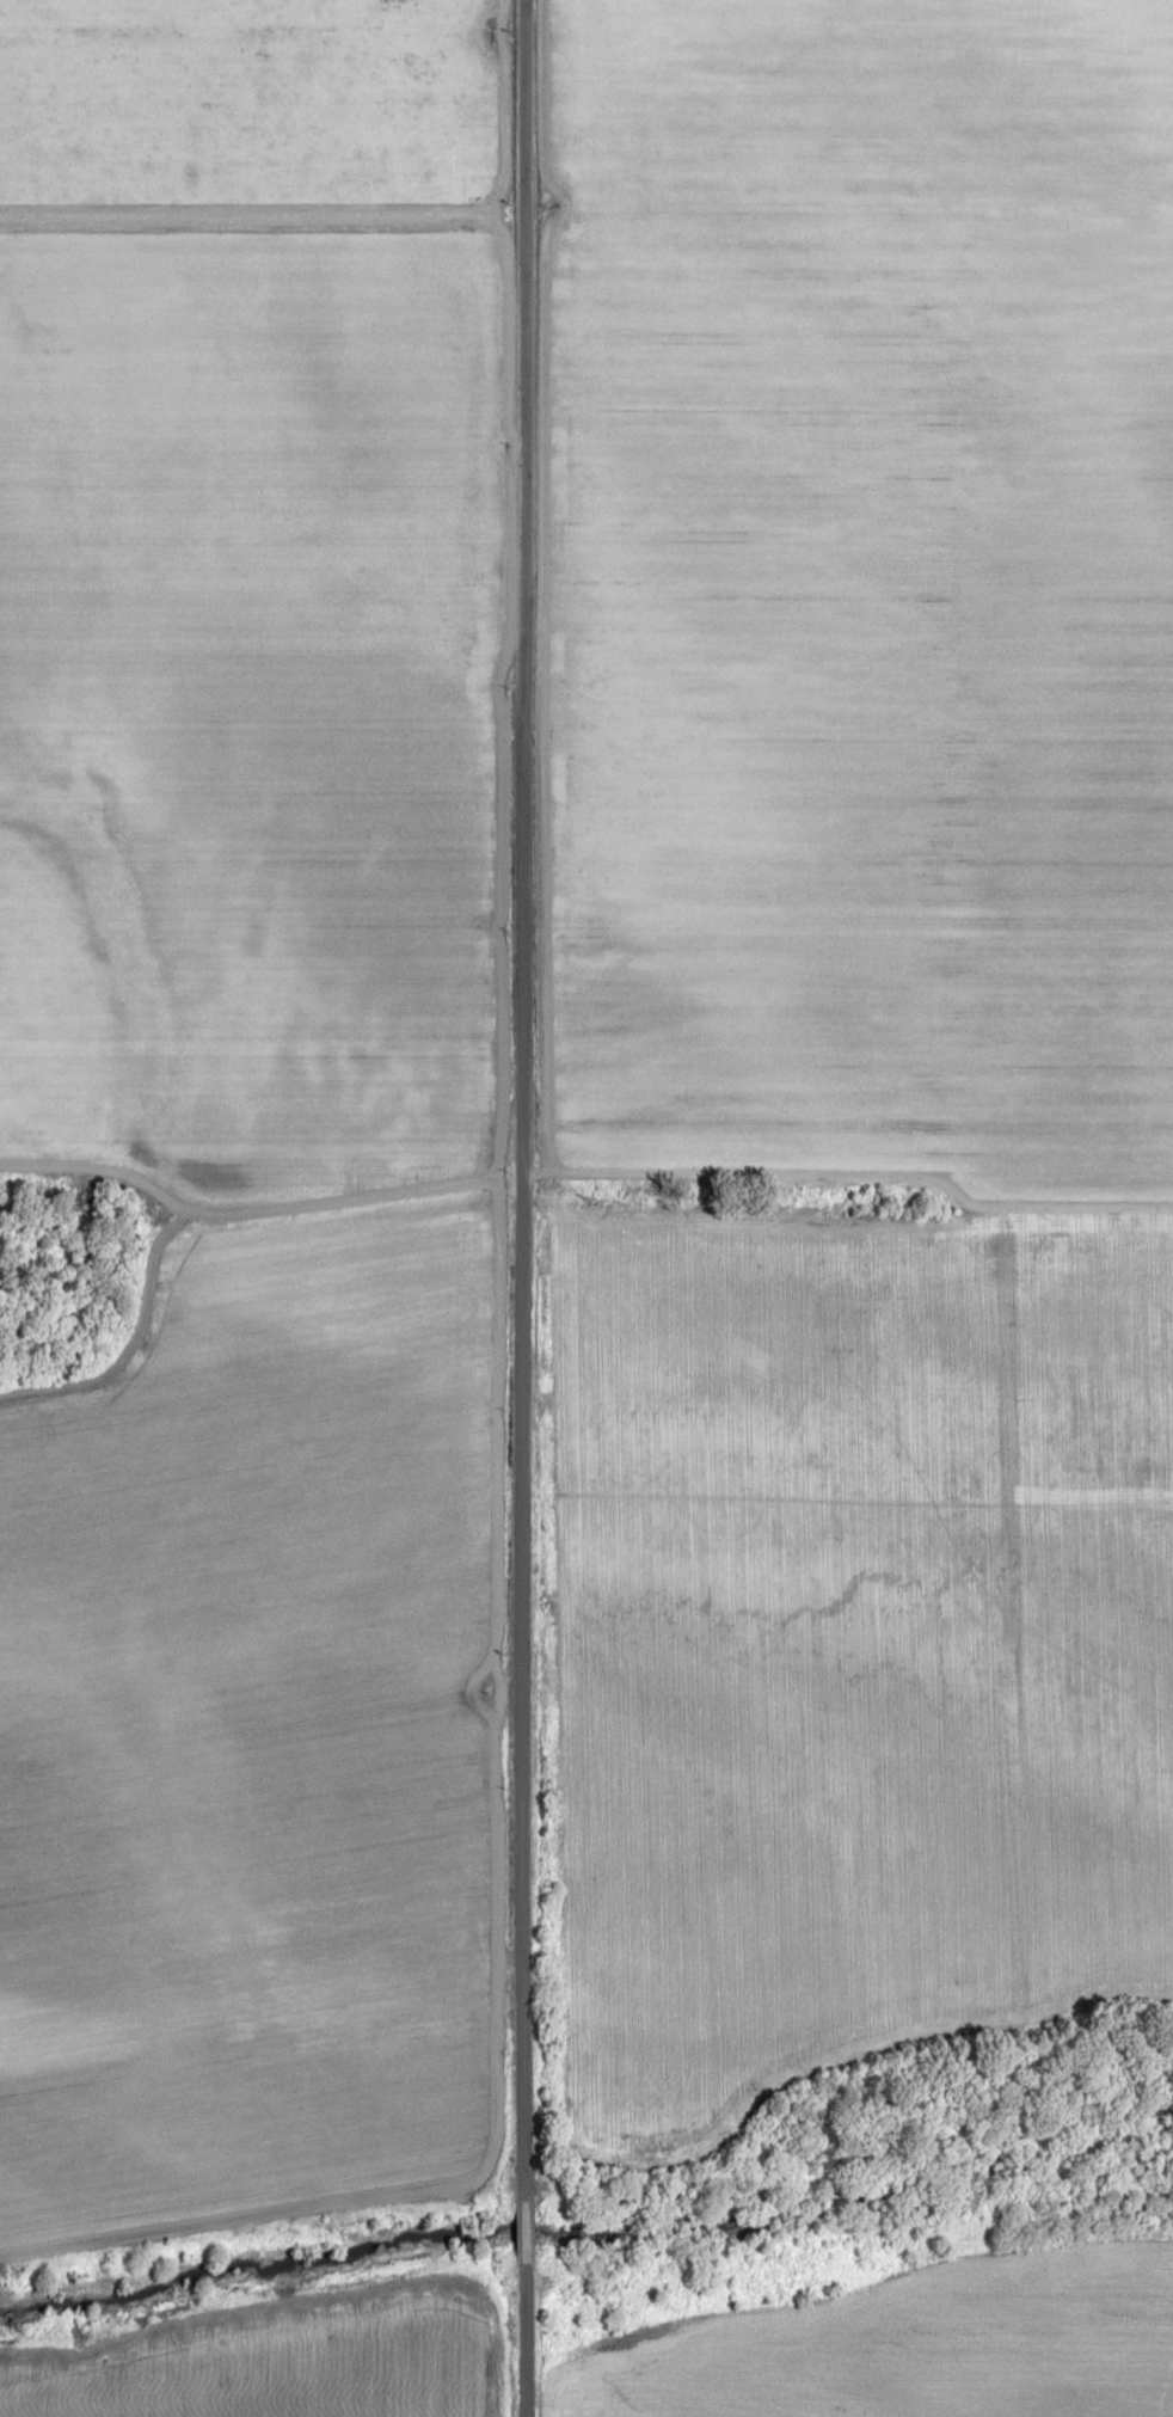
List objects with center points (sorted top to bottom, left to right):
road: (518, 1130)
road: (744, 1190)
road: (520, 2339)

